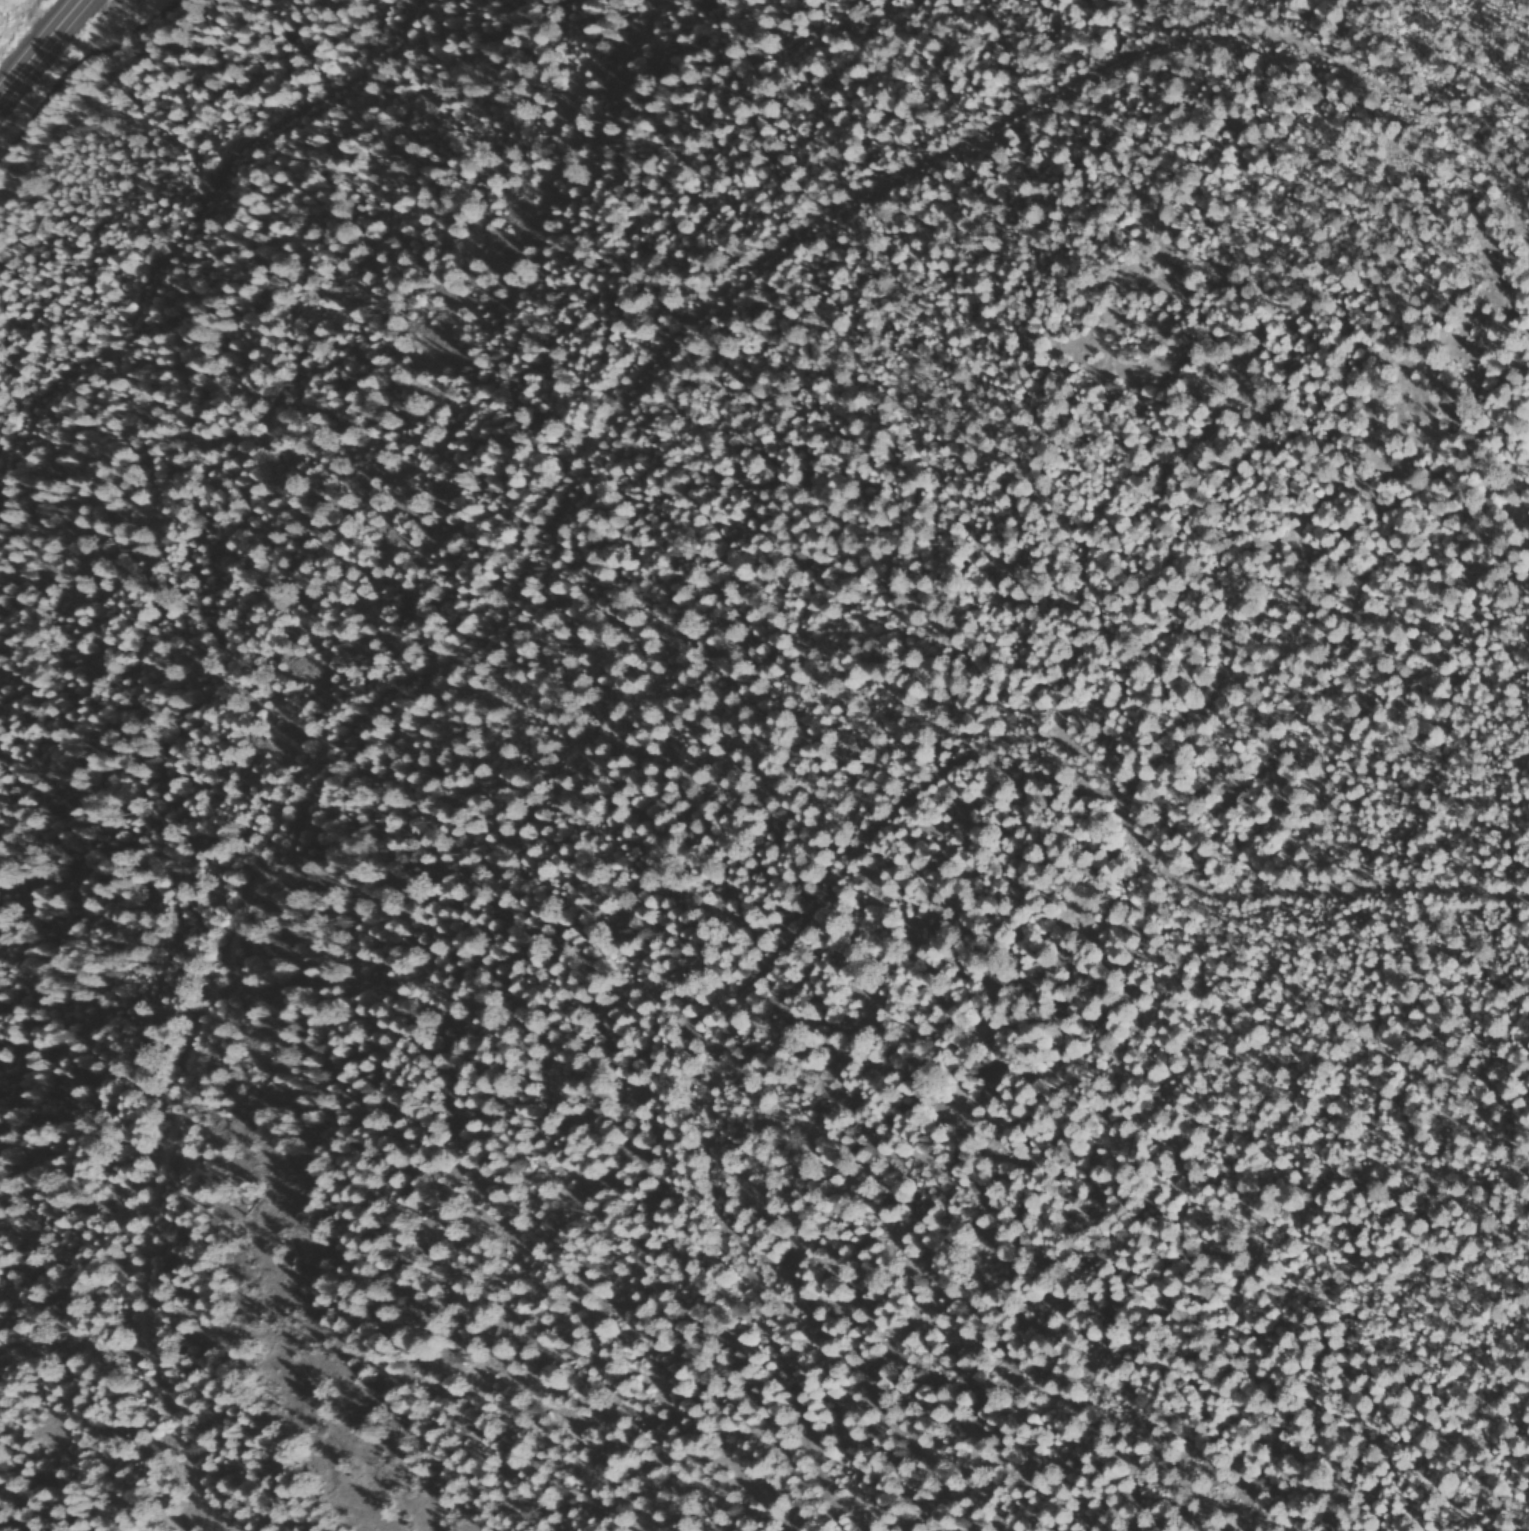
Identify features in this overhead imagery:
road: (42, 51)
road: (157, 279)
road: (617, 418)
road: (838, 833)

